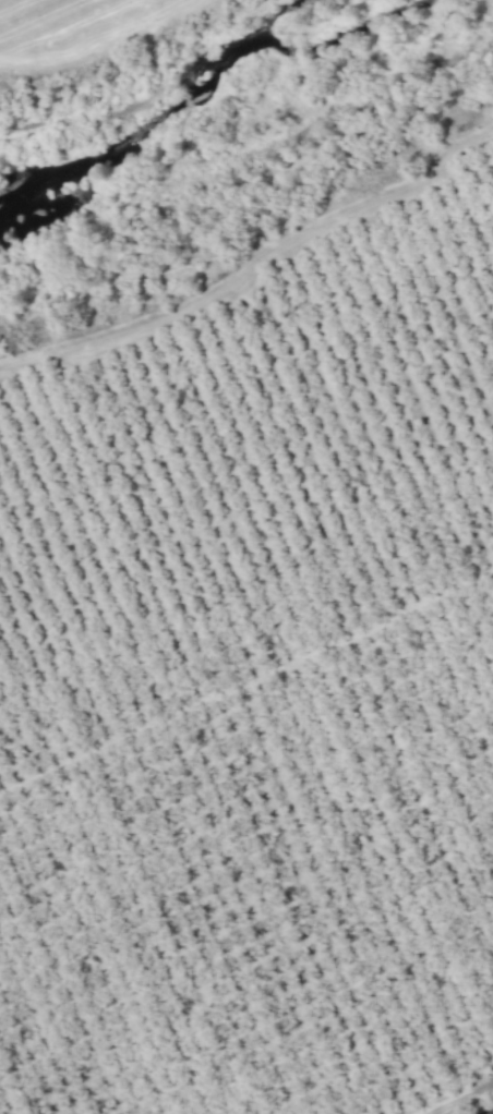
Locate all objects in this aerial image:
river: (246, 102)
road: (253, 270)

